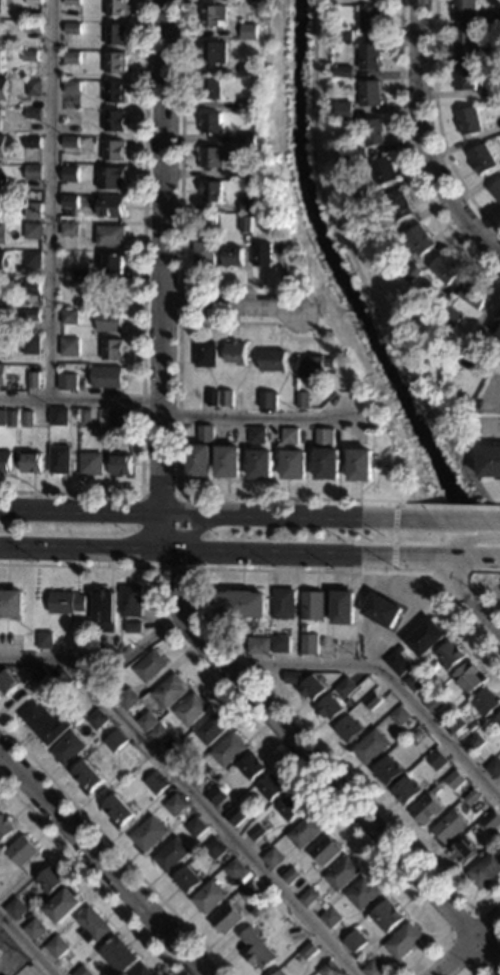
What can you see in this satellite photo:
building: (352, 1)
building: (35, 2)
building: (73, 2)
building: (1, 6)
building: (117, 8)
building: (466, 10)
building: (215, 16)
building: (498, 18)
building: (372, 20)
building: (33, 27)
building: (73, 29)
building: (0, 30)
building: (250, 31)
building: (116, 34)
building: (345, 35)
building: (466, 42)
building: (215, 52)
building: (493, 55)
building: (30, 56)
building: (371, 56)
building: (73, 58)
building: (0, 60)
building: (116, 63)
building: (248, 70)
building: (345, 71)
building: (466, 77)
building: (73, 86)
building: (35, 87)
building: (3, 89)
building: (212, 89)
building: (115, 92)
building: (371, 92)
building: (491, 92)
building: (250, 105)
building: (344, 111)
building: (33, 113)
building: (72, 115)
building: (0, 119)
building: (115, 121)
road: (423, 121)
building: (470, 121)
building: (212, 123)
road: (438, 123)
building: (370, 138)
building: (249, 139)
building: (32, 142)
building: (70, 142)
building: (3, 146)
building: (114, 150)
road: (410, 152)
building: (214, 159)
building: (484, 159)
building: (385, 170)
building: (33, 172)
building: (252, 173)
building: (70, 174)
building: (111, 178)
building: (496, 189)
building: (212, 191)
building: (368, 196)
road: (49, 200)
building: (70, 201)
road: (181, 201)
building: (248, 204)
building: (111, 206)
building: (401, 206)
building: (34, 211)
building: (209, 219)
building: (246, 224)
building: (273, 228)
building: (69, 230)
building: (32, 231)
building: (2, 232)
building: (387, 235)
building: (110, 236)
building: (422, 239)
road: (487, 242)
building: (205, 254)
building: (263, 255)
road: (165, 256)
building: (234, 257)
building: (32, 260)
building: (3, 261)
building: (113, 264)
building: (447, 269)
building: (414, 273)
building: (81, 277)
building: (32, 288)
river: (354, 289)
building: (476, 294)
building: (440, 301)
road: (180, 303)
road: (231, 307)
building: (31, 315)
building: (70, 317)
road: (144, 317)
building: (454, 317)
building: (2, 319)
building: (110, 321)
building: (447, 328)
building: (497, 328)
building: (31, 345)
building: (4, 347)
building: (69, 347)
building: (112, 349)
building: (237, 353)
building: (206, 354)
building: (474, 356)
building: (273, 360)
building: (314, 366)
building: (2, 374)
building: (107, 377)
building: (33, 380)
building: (71, 382)
road: (496, 394)
building: (213, 398)
building: (227, 398)
building: (268, 399)
building: (303, 400)
road: (80, 401)
building: (58, 416)
road: (256, 417)
building: (85, 418)
building: (12, 419)
building: (27, 419)
building: (119, 420)
road: (488, 432)
building: (257, 435)
building: (291, 436)
road: (177, 452)
building: (200, 453)
building: (327, 455)
building: (60, 460)
building: (6, 461)
building: (228, 461)
building: (490, 461)
building: (31, 462)
building: (91, 464)
building: (261, 464)
building: (120, 465)
building: (294, 465)
building: (361, 465)
road: (175, 495)
road: (453, 505)
road: (208, 514)
road: (426, 521)
road: (467, 521)
road: (170, 532)
road: (467, 533)
road: (402, 538)
road: (423, 540)
road: (215, 552)
road: (440, 559)
road: (449, 559)
road: (475, 559)
road: (436, 566)
road: (487, 570)
road: (446, 573)
park: (493, 585)
building: (131, 601)
building: (12, 604)
building: (68, 604)
building: (240, 604)
building: (284, 604)
road: (470, 605)
building: (314, 606)
building: (344, 608)
building: (104, 610)
building: (384, 610)
building: (133, 627)
road: (217, 632)
building: (427, 638)
building: (44, 640)
building: (335, 642)
building: (309, 644)
building: (281, 645)
building: (259, 646)
building: (451, 656)
building: (399, 663)
road: (98, 664)
building: (150, 667)
building: (39, 676)
building: (292, 678)
road: (389, 678)
building: (470, 678)
building: (61, 680)
building: (7, 682)
building: (416, 682)
building: (345, 688)
building: (312, 689)
building: (170, 692)
building: (128, 700)
building: (373, 701)
building: (435, 703)
building: (485, 703)
building: (329, 708)
building: (191, 710)
building: (400, 717)
building: (97, 720)
road: (250, 720)
building: (147, 722)
building: (498, 722)
building: (45, 724)
building: (456, 725)
building: (211, 730)
building: (349, 730)
building: (418, 734)
building: (159, 735)
building: (116, 741)
building: (476, 744)
building: (371, 748)
building: (68, 750)
building: (228, 751)
road: (306, 753)
building: (179, 757)
building: (437, 761)
building: (251, 768)
building: (493, 768)
building: (388, 773)
building: (196, 776)
building: (87, 778)
building: (454, 782)
building: (155, 784)
building: (271, 789)
building: (406, 793)
building: (216, 798)
building: (472, 801)
building: (0, 807)
building: (175, 807)
building: (289, 809)
building: (427, 812)
building: (117, 813)
building: (235, 817)
road: (216, 820)
building: (491, 824)
building: (5, 828)
building: (195, 829)
building: (449, 829)
building: (256, 834)
building: (304, 834)
building: (148, 836)
road: (114, 849)
building: (215, 851)
building: (20, 852)
building: (324, 852)
building: (464, 853)
building: (171, 857)
building: (272, 860)
road: (102, 864)
building: (234, 871)
building: (486, 871)
building: (342, 875)
road: (89, 877)
building: (293, 880)
building: (186, 881)
building: (50, 882)
building: (249, 893)
building: (363, 896)
building: (308, 898)
building: (208, 899)
building: (63, 906)
building: (15, 911)
building: (387, 917)
building: (226, 919)
building: (331, 920)
building: (92, 926)
building: (33, 931)
road: (444, 932)
building: (403, 942)
building: (355, 943)
road: (467, 945)
road: (26, 946)
building: (57, 948)
building: (0, 950)
building: (256, 951)
road: (487, 952)
building: (308, 953)
building: (117, 956)
building: (329, 970)
building: (373, 970)
road: (477, 970)
building: (142, 971)
building: (82, 972)
building: (280, 973)

